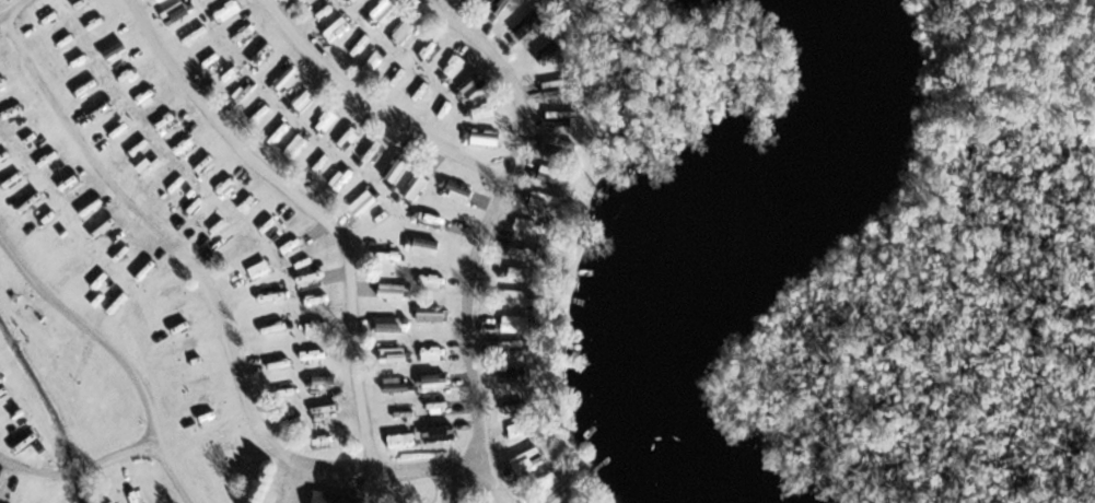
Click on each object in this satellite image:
building: (351, 1)
road: (5, 5)
building: (499, 7)
building: (381, 9)
building: (405, 30)
building: (519, 32)
building: (454, 66)
building: (470, 84)
road: (375, 106)
building: (484, 110)
building: (558, 117)
road: (195, 178)
building: (455, 190)
building: (544, 201)
building: (361, 202)
road: (312, 207)
road: (488, 232)
building: (423, 246)
building: (521, 249)
building: (516, 273)
building: (393, 291)
building: (515, 299)
road: (219, 302)
building: (429, 314)
building: (393, 324)
building: (512, 324)
road: (120, 350)
building: (510, 351)
building: (391, 353)
building: (510, 373)
building: (435, 432)
building: (398, 440)
building: (526, 463)
road: (80, 469)
road: (287, 479)
road: (492, 481)
building: (330, 498)

